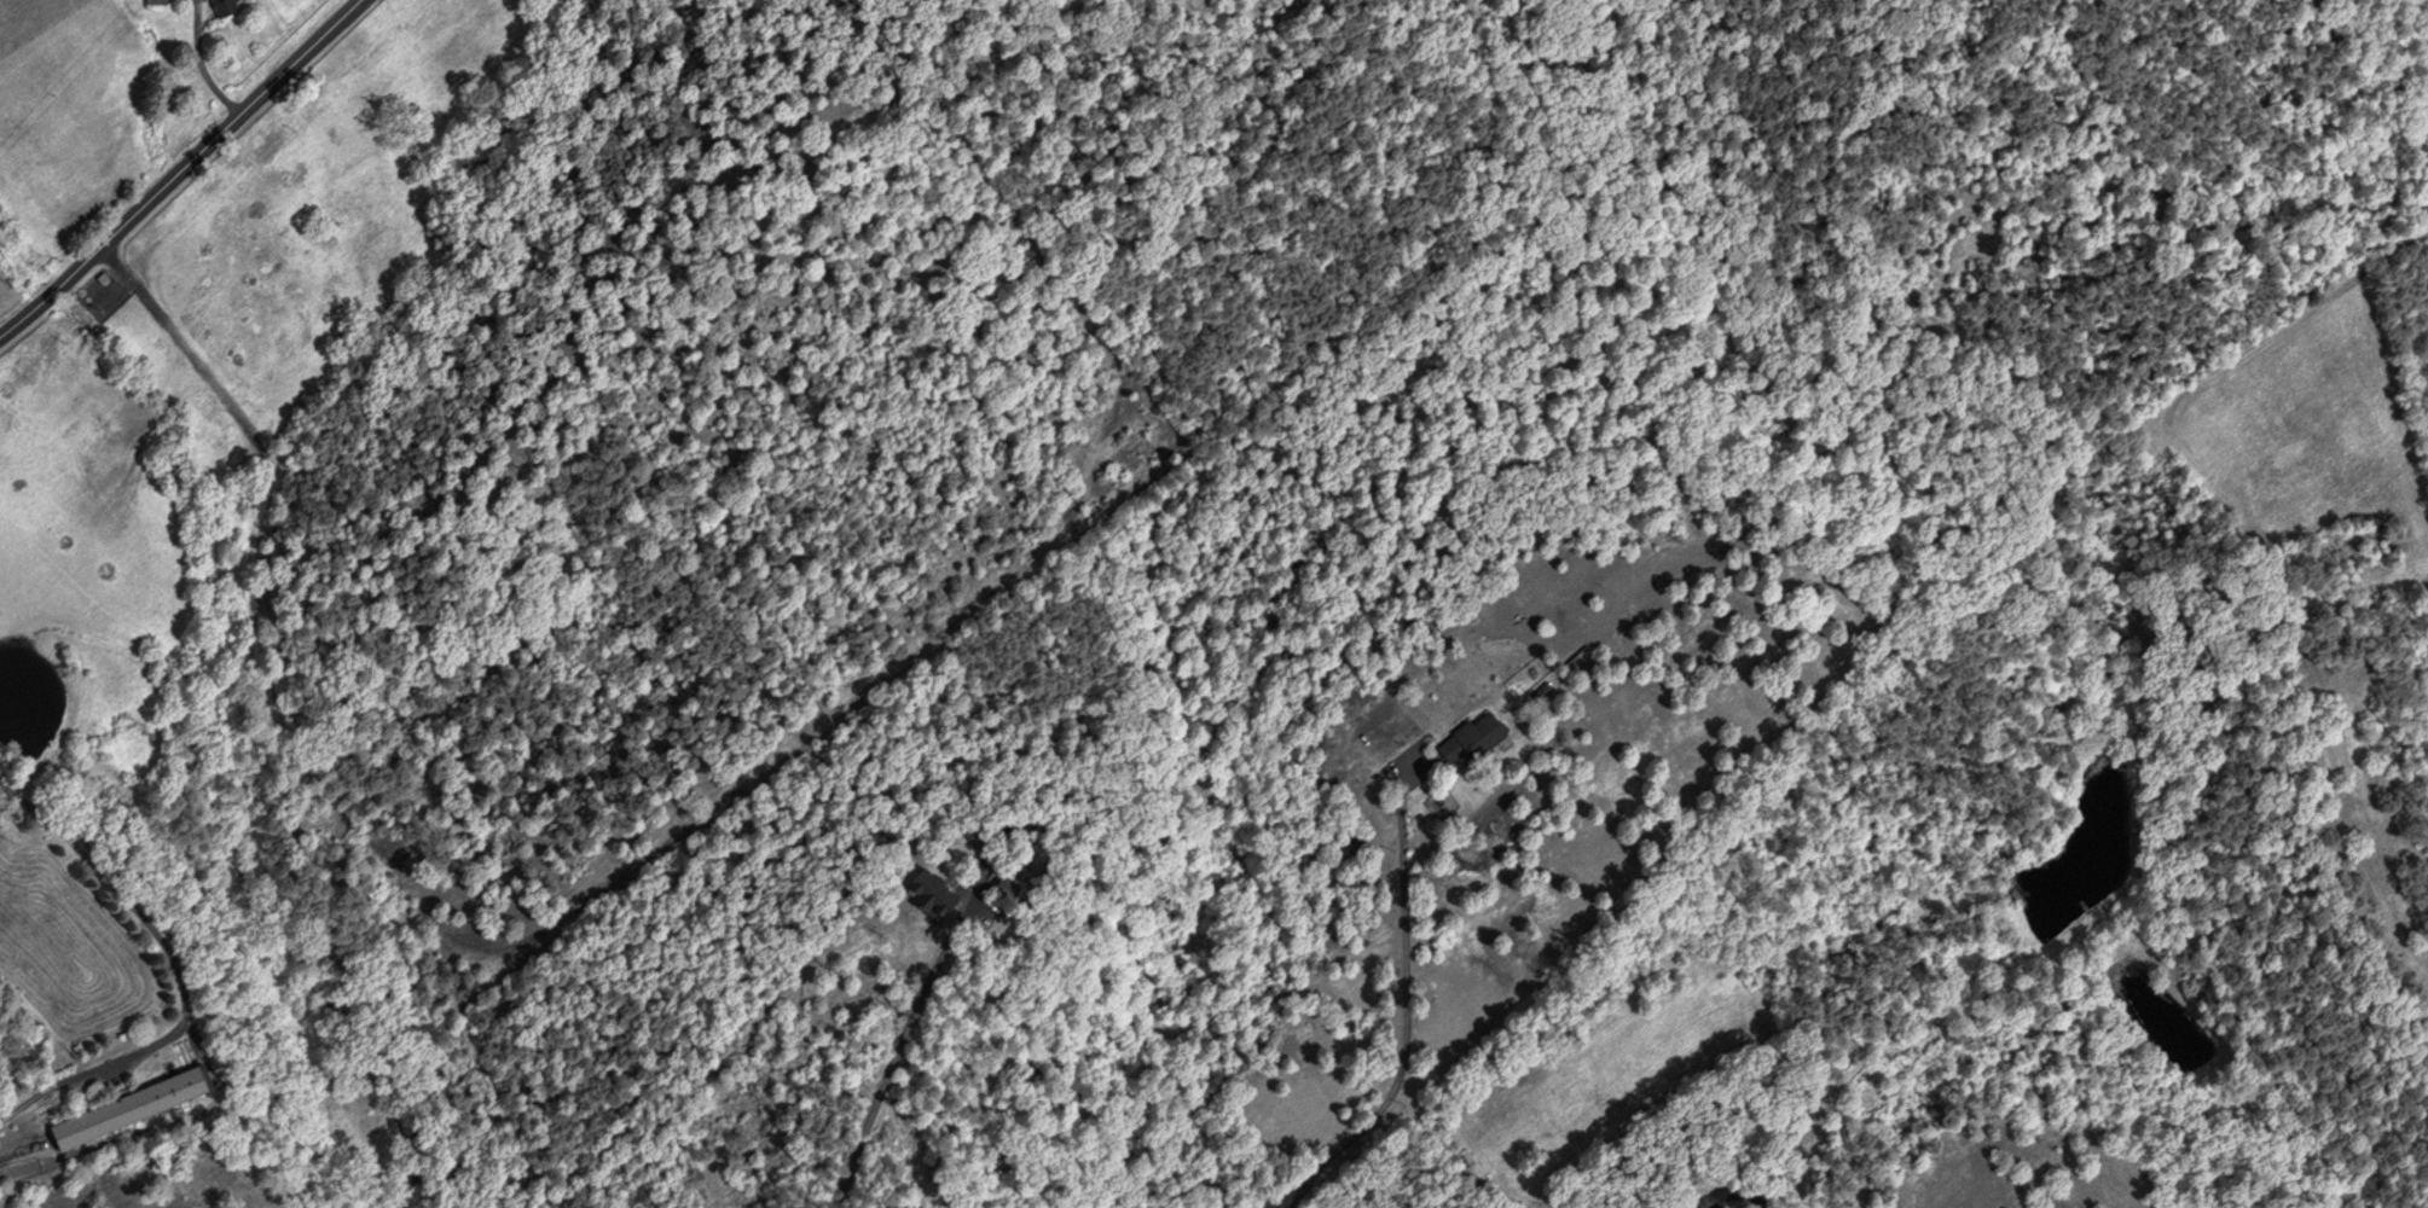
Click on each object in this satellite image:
building: (157, 0)
building: (226, 6)
road: (179, 168)
building: (1474, 736)
building: (1010, 888)
building: (935, 893)
road: (173, 970)
road: (1404, 1016)
road: (898, 1045)
building: (135, 1107)
road: (1300, 1180)
road: (1733, 1189)

